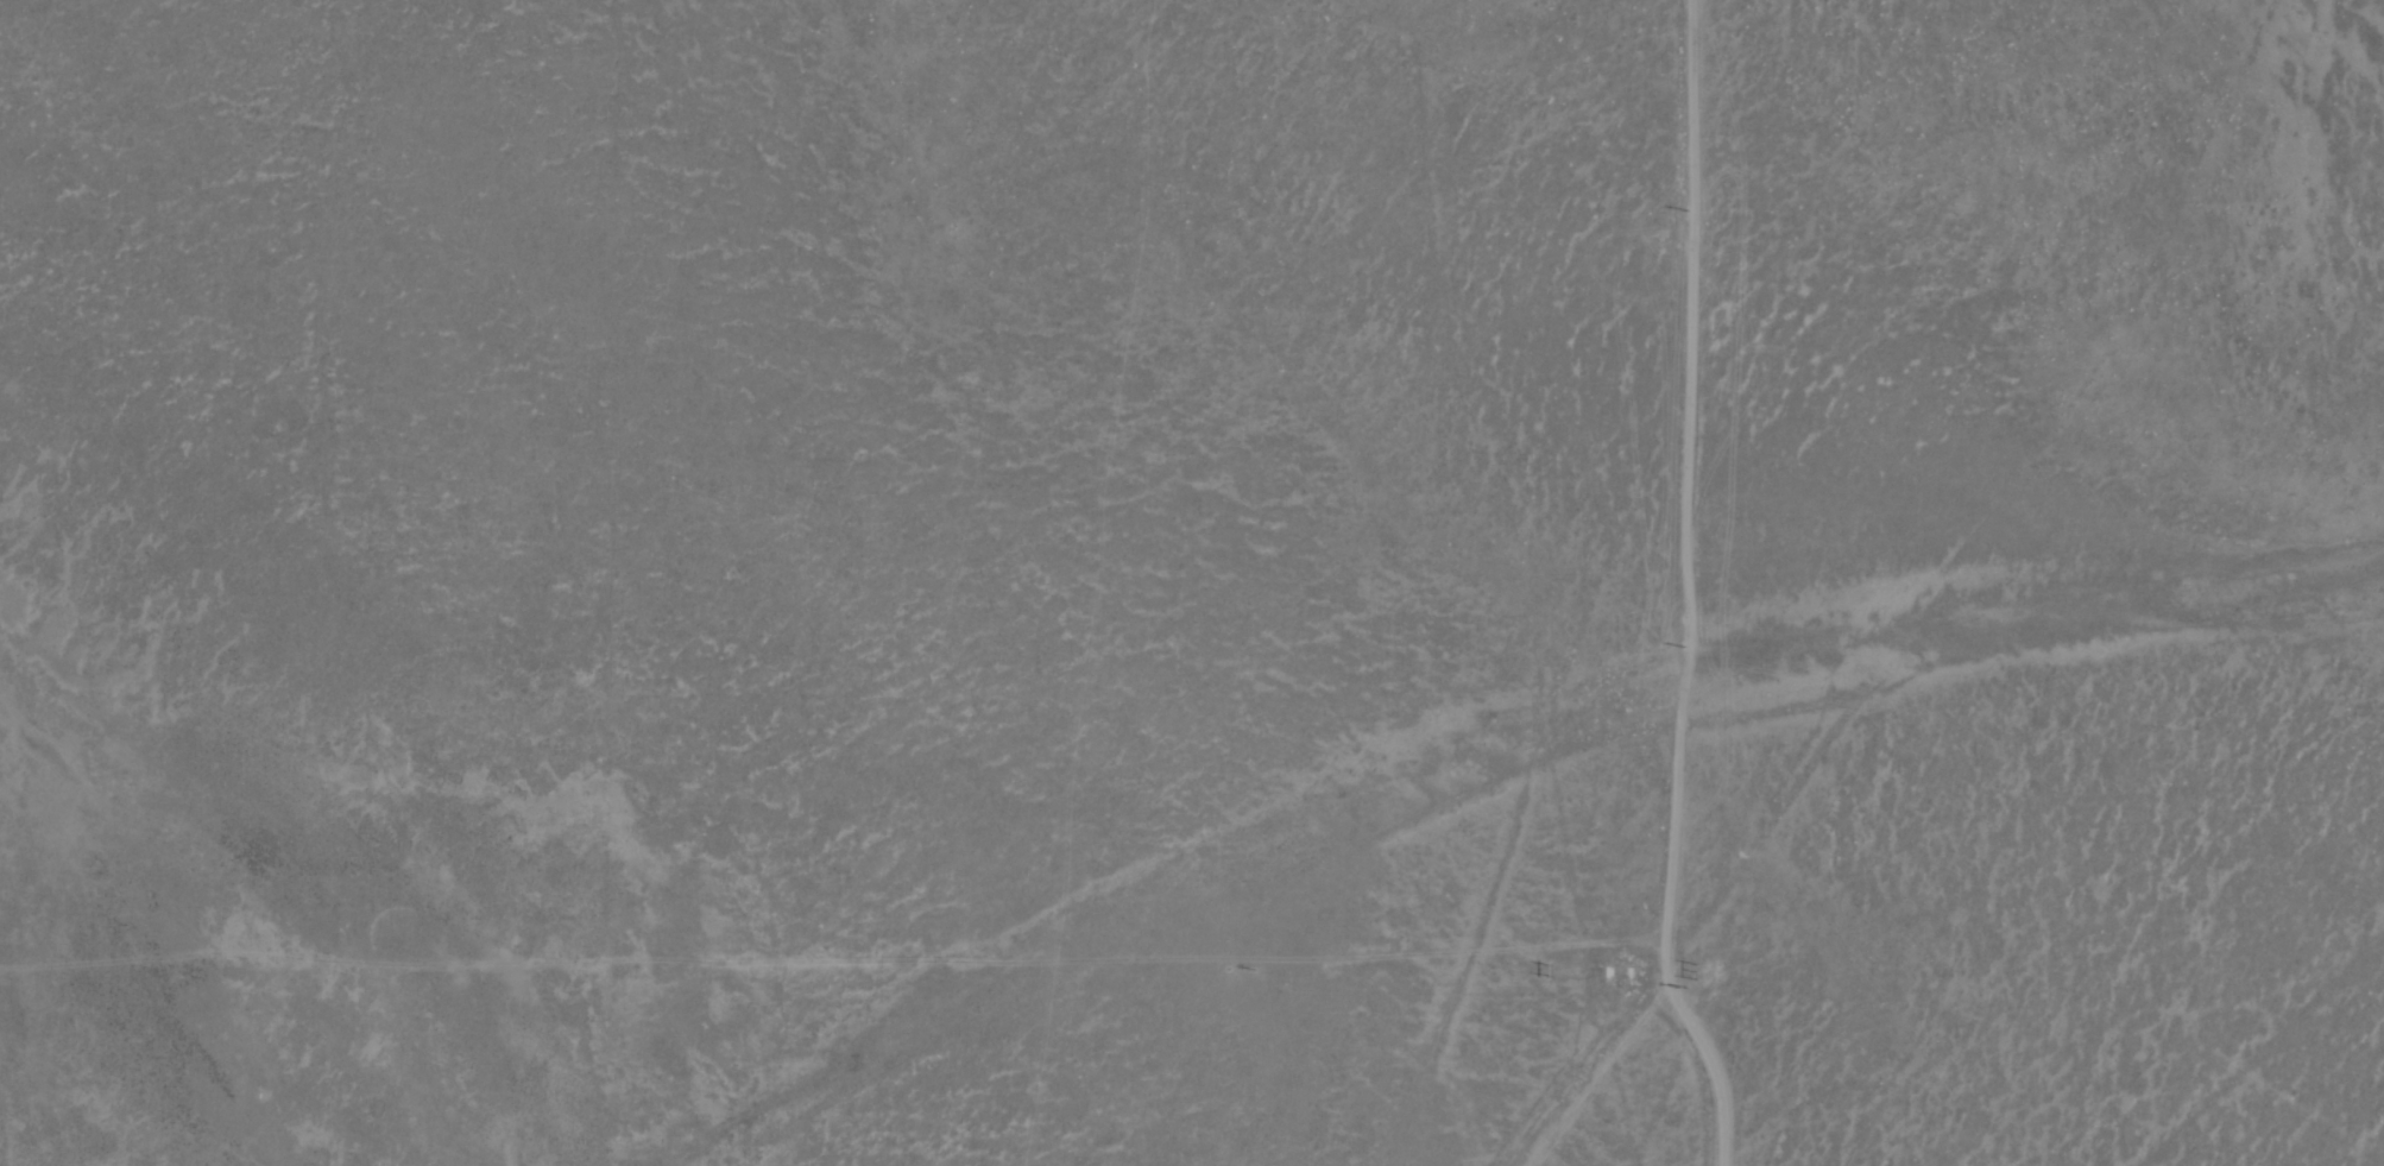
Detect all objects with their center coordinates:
road: (1653, 582)

